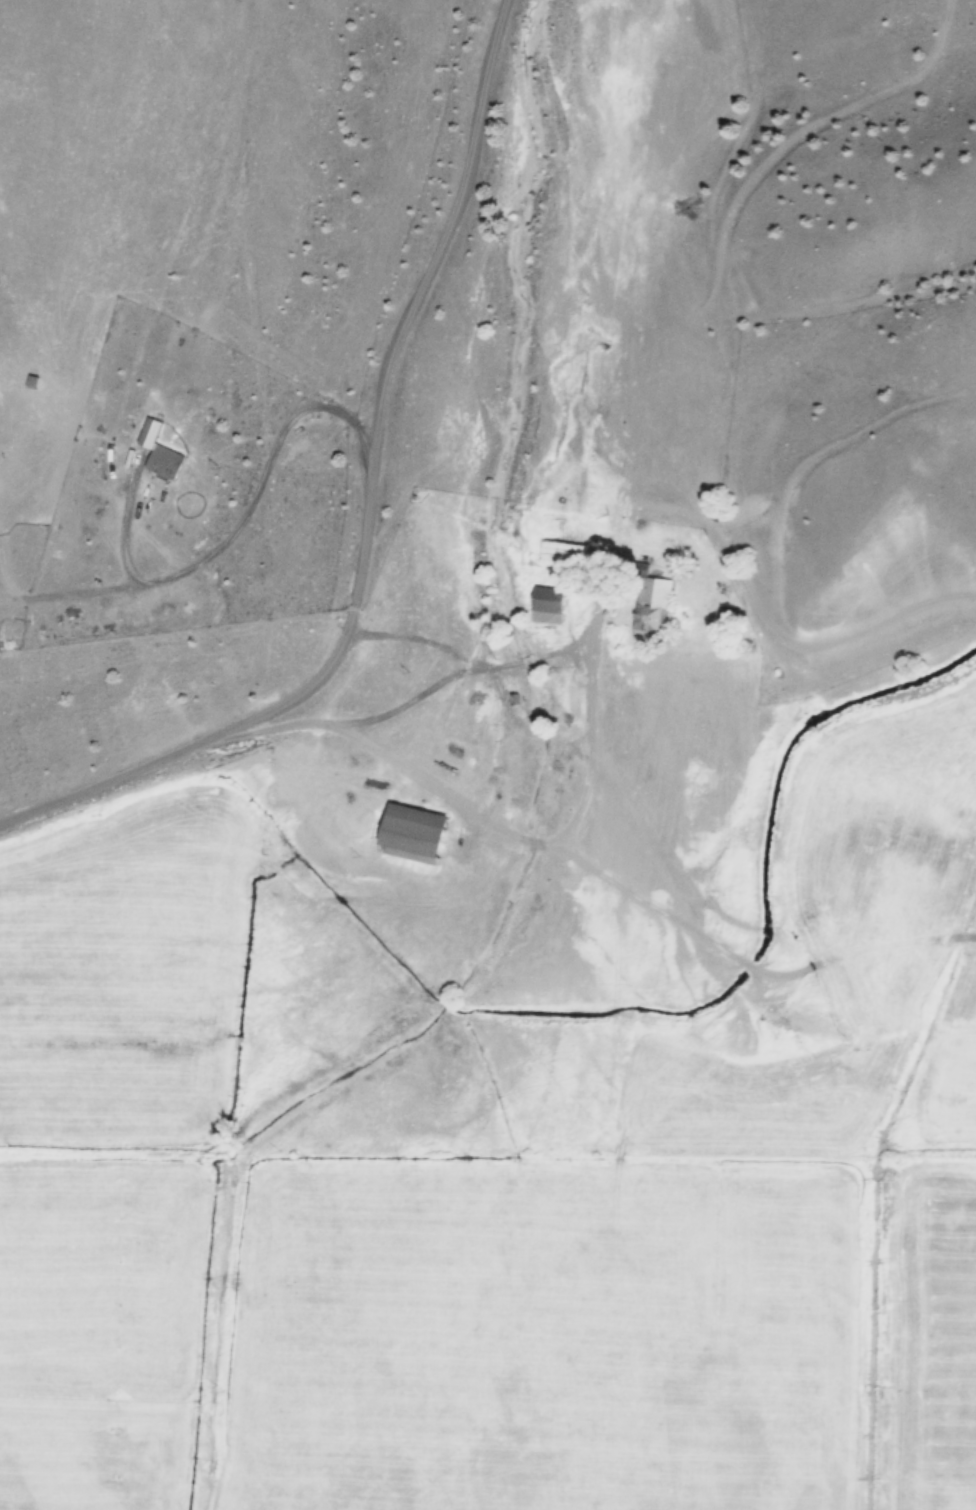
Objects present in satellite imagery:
building: (150, 457)
road: (366, 507)
building: (541, 608)
building: (647, 611)
building: (462, 717)
building: (407, 837)

